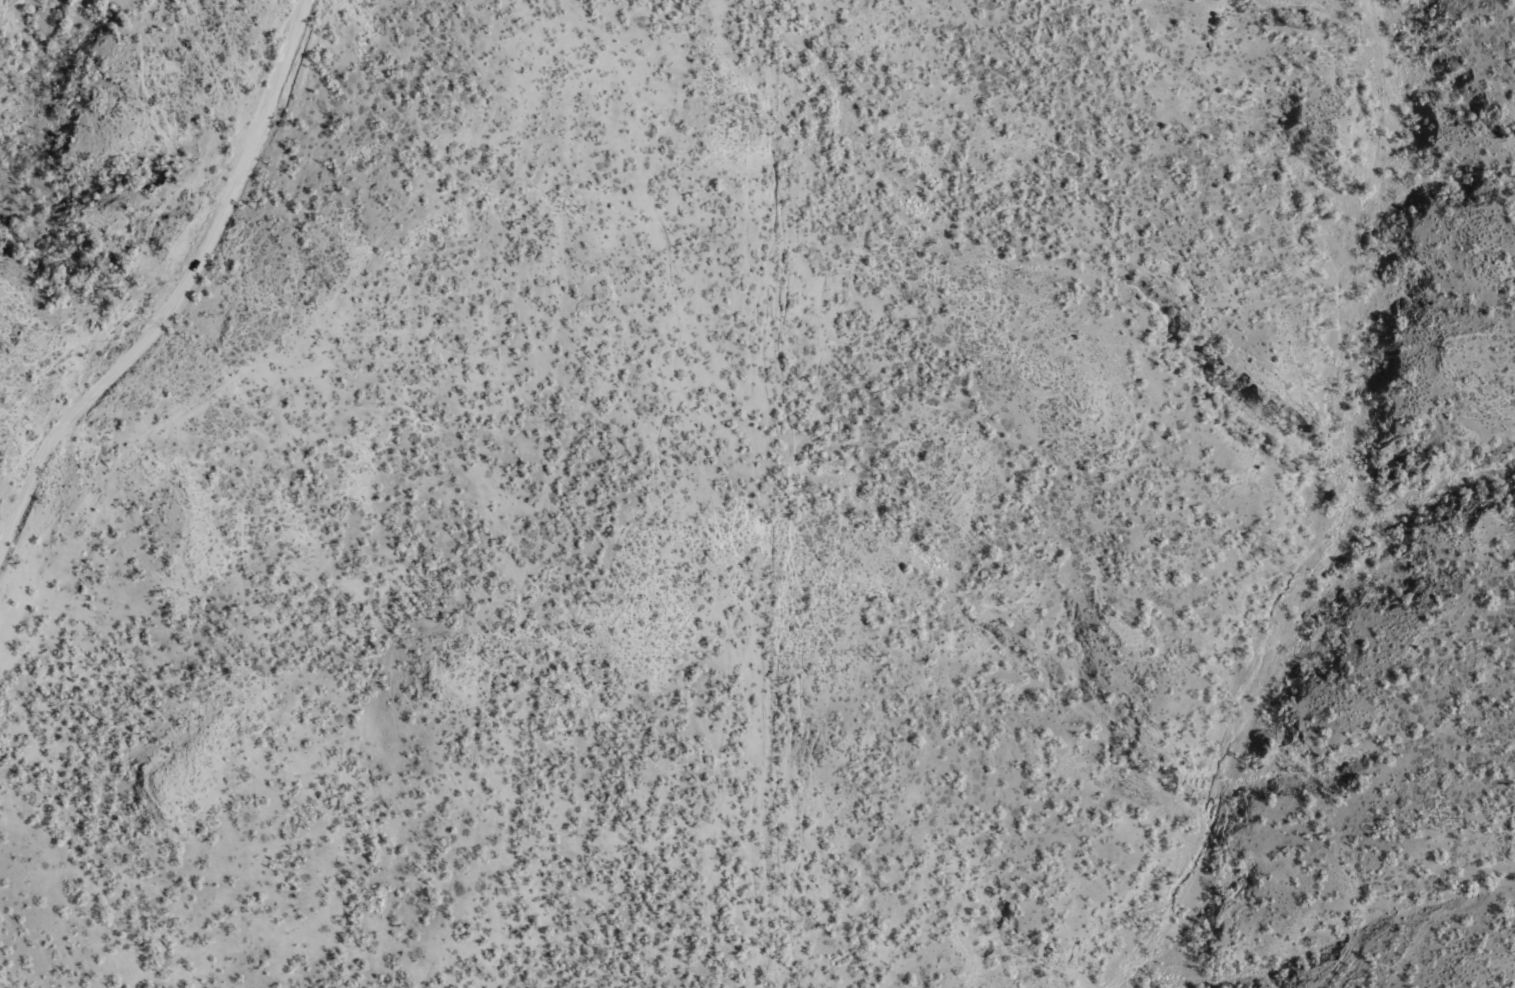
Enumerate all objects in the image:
road: (166, 305)

